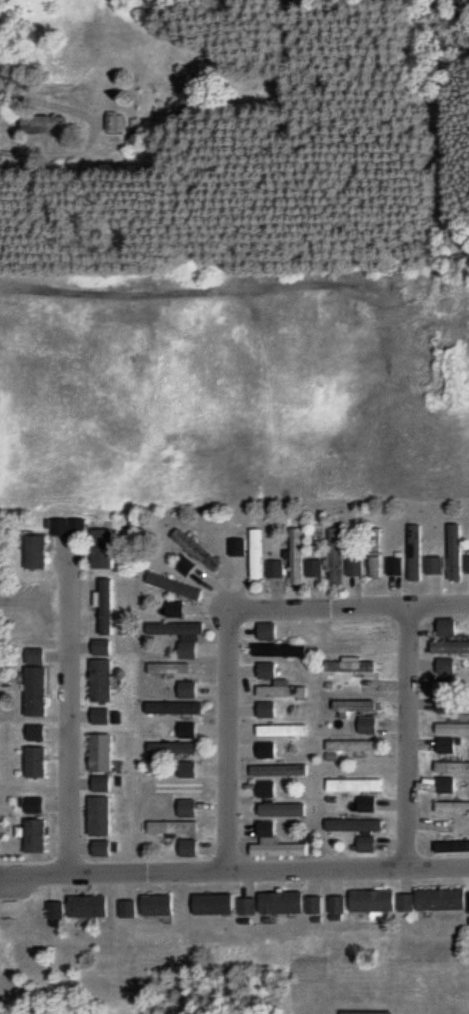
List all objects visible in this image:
building: (38, 122)
building: (113, 123)
building: (50, 539)
building: (232, 546)
building: (97, 547)
building: (192, 550)
building: (372, 552)
building: (452, 552)
building: (252, 553)
building: (293, 555)
building: (416, 555)
building: (333, 556)
building: (466, 564)
building: (350, 567)
building: (270, 568)
building: (311, 568)
building: (170, 585)
building: (103, 606)
building: (169, 609)
road: (225, 617)
building: (350, 627)
building: (443, 627)
building: (263, 631)
building: (175, 635)
building: (447, 646)
building: (97, 647)
building: (274, 650)
building: (38, 655)
building: (340, 664)
building: (443, 666)
building: (165, 668)
building: (96, 680)
building: (273, 683)
building: (182, 689)
building: (39, 691)
building: (442, 704)
building: (168, 707)
building: (261, 709)
building: (97, 716)
road: (67, 721)
building: (362, 725)
building: (450, 728)
building: (182, 729)
building: (278, 730)
building: (38, 732)
road: (408, 736)
building: (441, 744)
building: (347, 746)
building: (166, 747)
building: (260, 749)
building: (39, 761)
building: (95, 762)
building: (450, 766)
building: (182, 768)
building: (275, 770)
building: (349, 784)
building: (441, 784)
building: (169, 787)
building: (260, 789)
building: (37, 805)
building: (450, 806)
building: (183, 807)
building: (278, 809)
building: (168, 827)
building: (262, 829)
building: (352, 830)
building: (38, 835)
building: (97, 847)
building: (182, 847)
building: (274, 849)
road: (348, 869)
road: (114, 874)
building: (367, 900)
building: (428, 900)
building: (211, 903)
building: (266, 903)
building: (160, 904)
building: (93, 905)
building: (309, 905)
building: (332, 905)
building: (130, 908)
building: (360, 1012)

